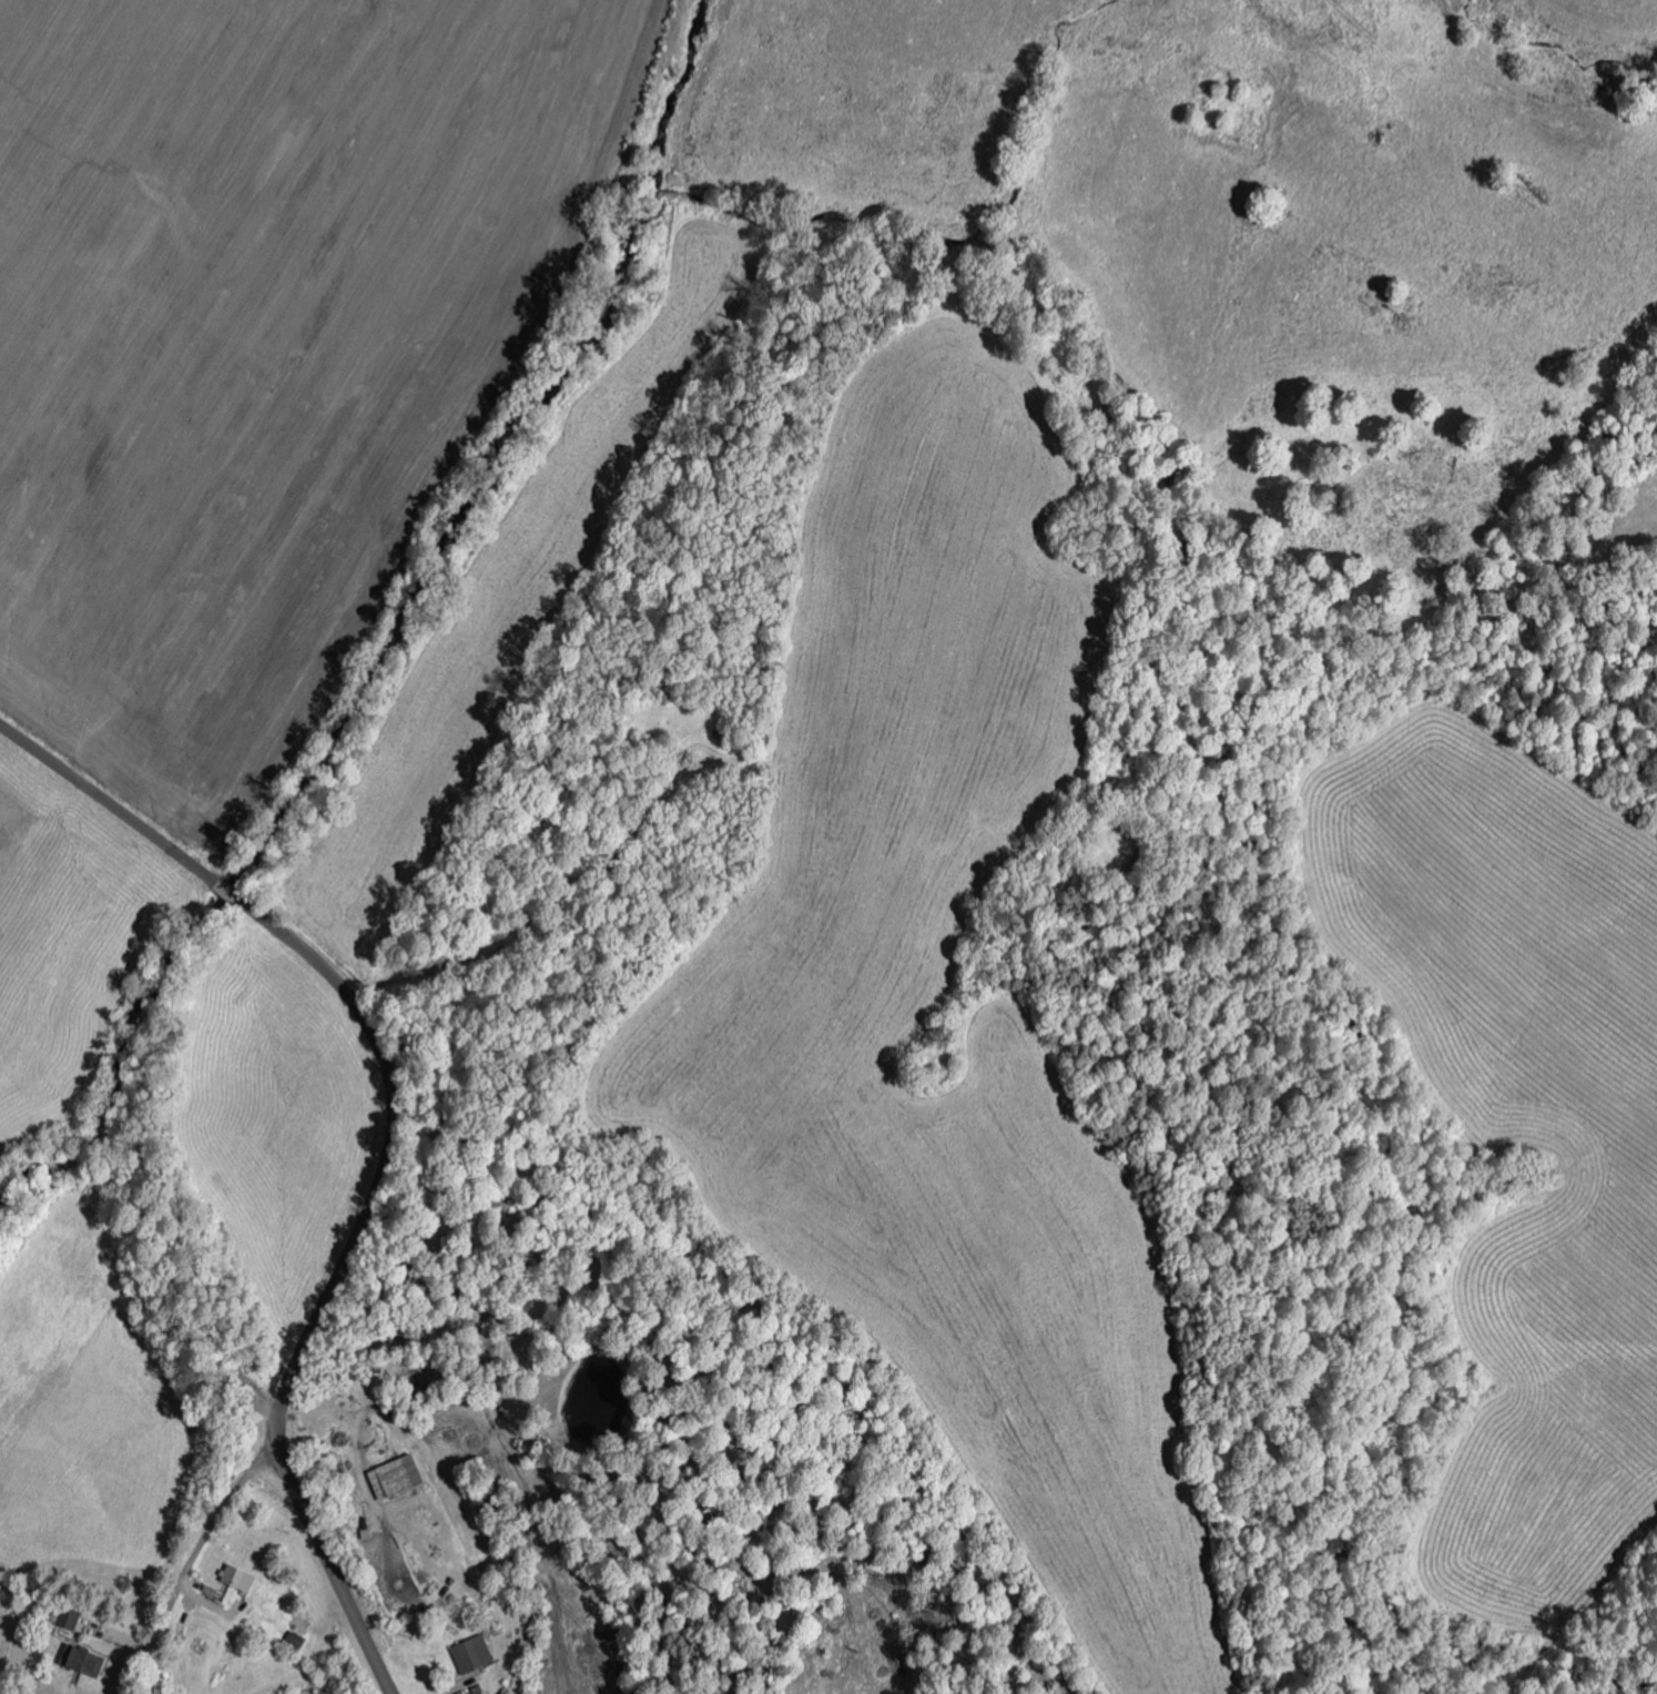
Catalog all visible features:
park: (1229, 106)
road: (113, 809)
road: (389, 1128)
building: (397, 1477)
road: (207, 1545)
road: (325, 1558)
building: (240, 1578)
building: (70, 1617)
building: (295, 1640)
building: (474, 1654)
building: (84, 1660)

